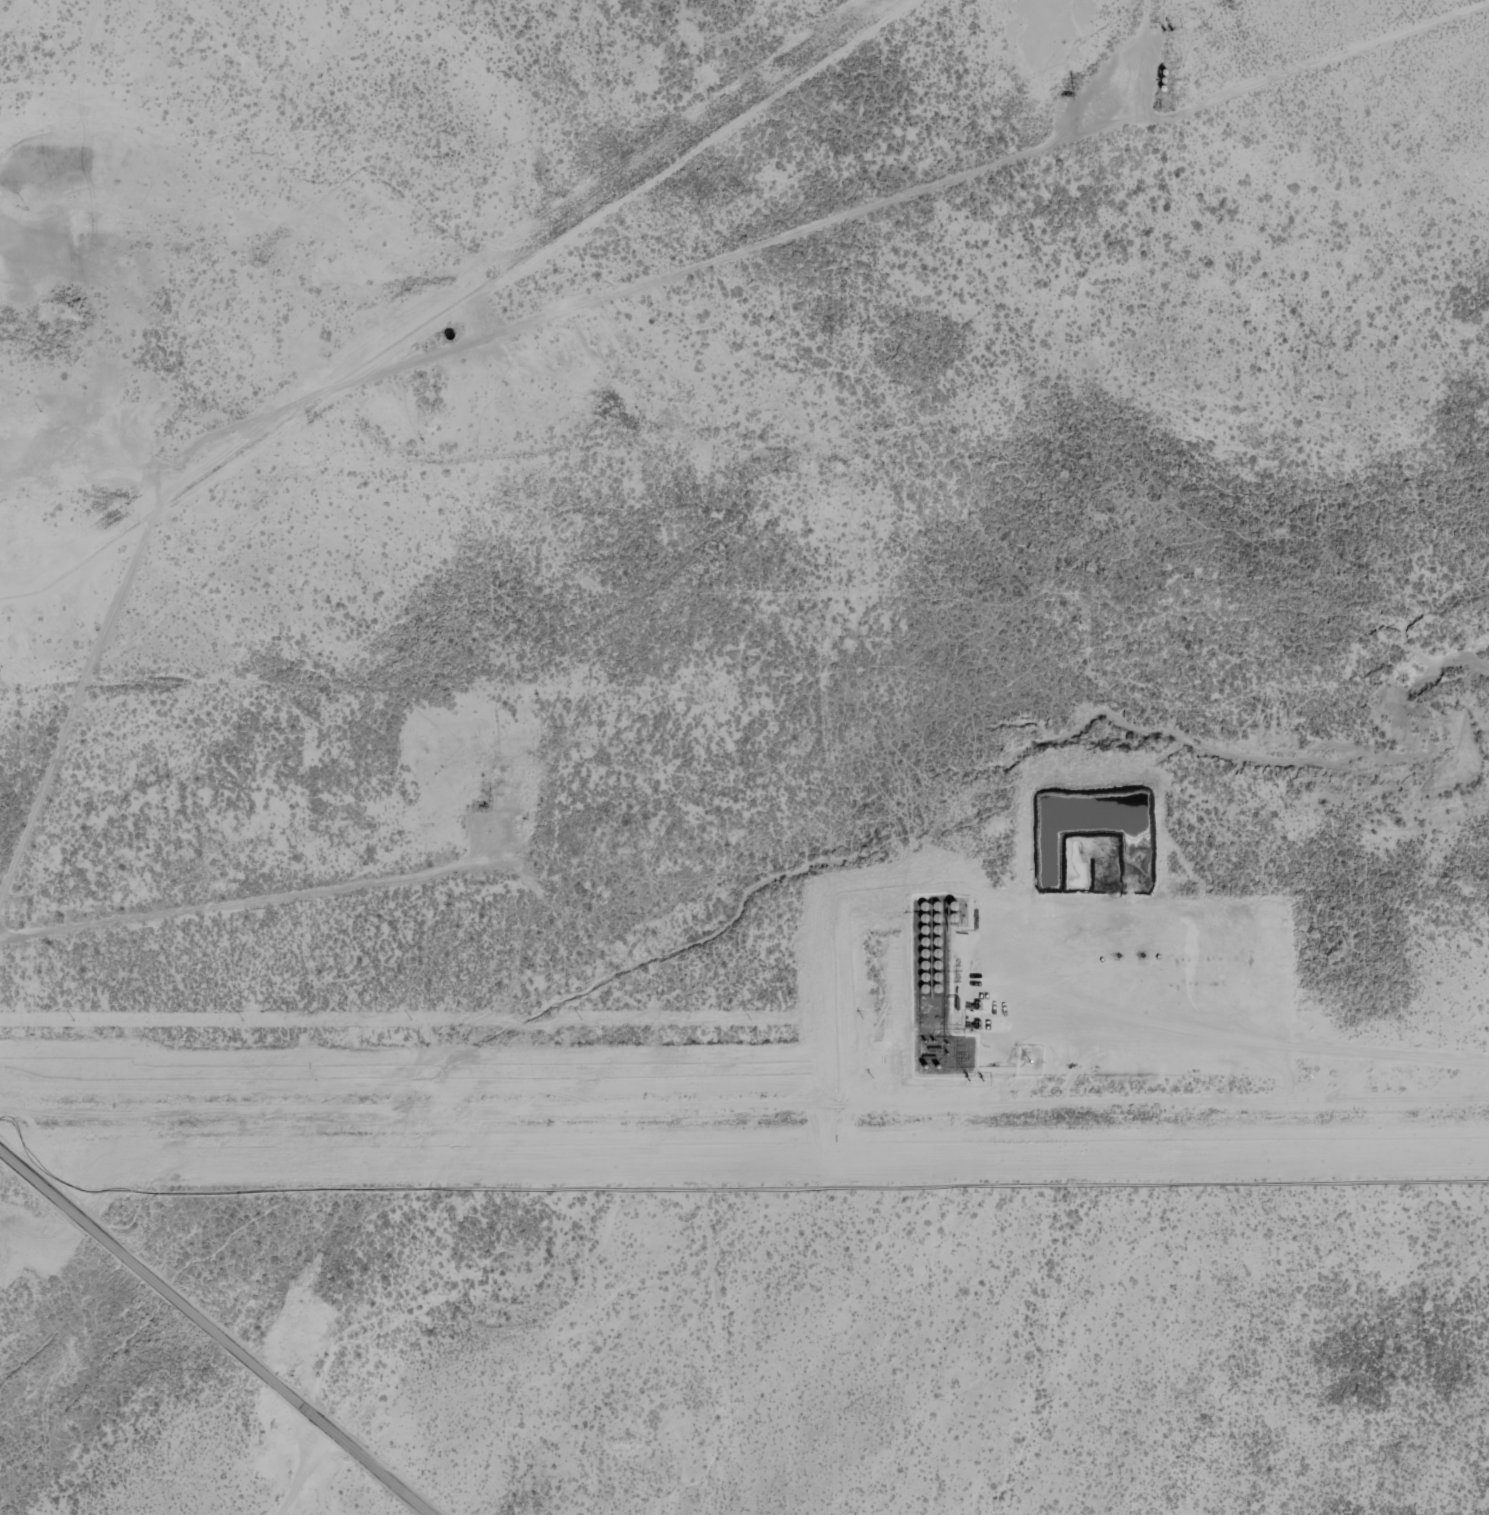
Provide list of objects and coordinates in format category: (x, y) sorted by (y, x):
road: (182, 1336)
road: (351, 1494)

